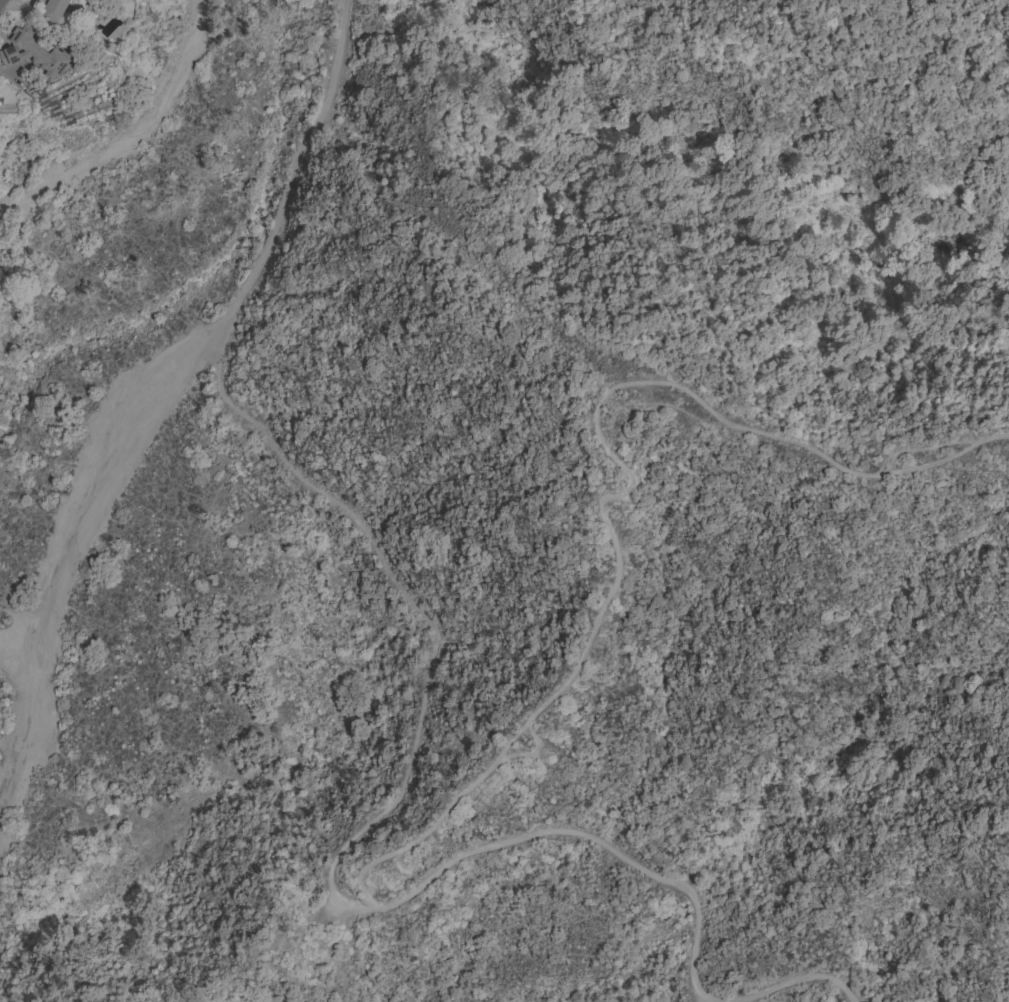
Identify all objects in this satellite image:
building: (52, 10)
building: (32, 53)
road: (130, 132)
road: (299, 162)
road: (72, 533)
road: (605, 594)
road: (368, 823)
road: (808, 976)

